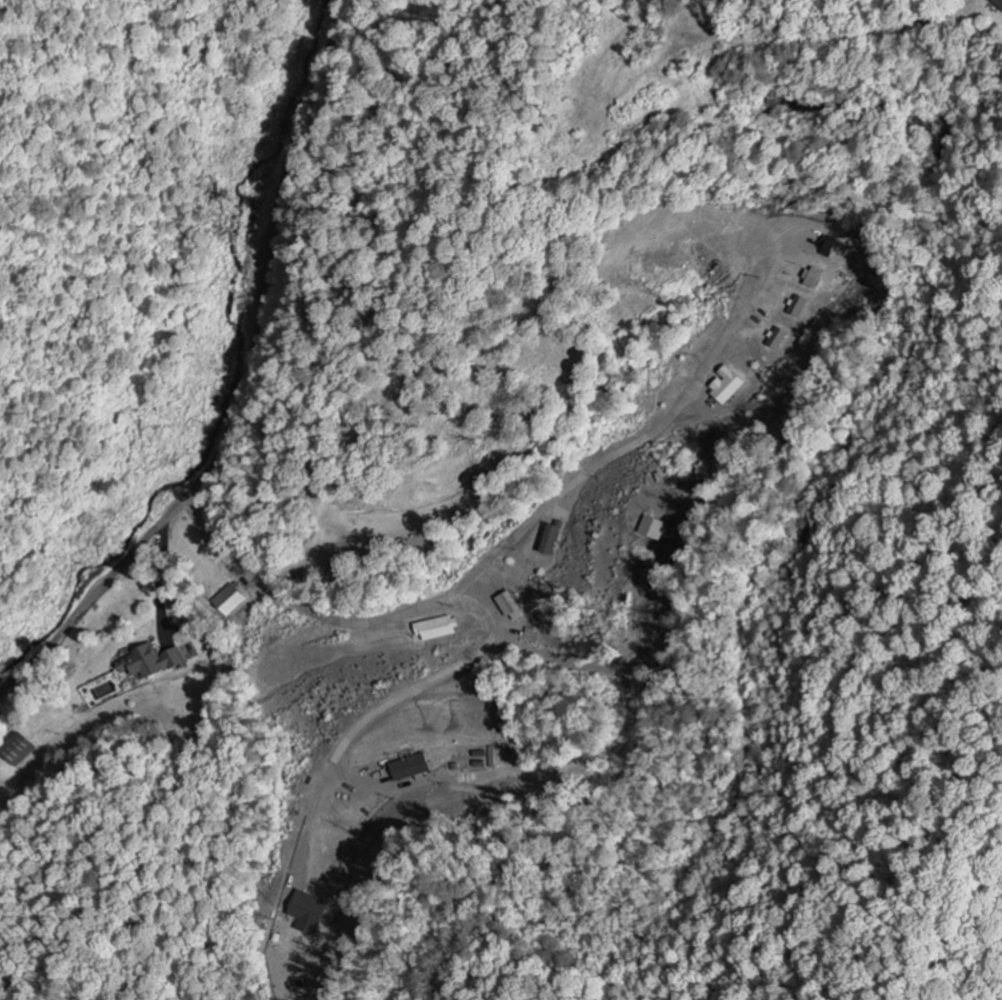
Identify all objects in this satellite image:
building: (999, 2)
building: (830, 247)
building: (815, 279)
building: (799, 307)
building: (781, 340)
road: (243, 384)
building: (729, 387)
building: (656, 530)
building: (554, 543)
building: (231, 601)
building: (511, 605)
building: (438, 630)
building: (153, 664)
building: (18, 750)
building: (413, 769)
building: (313, 909)

